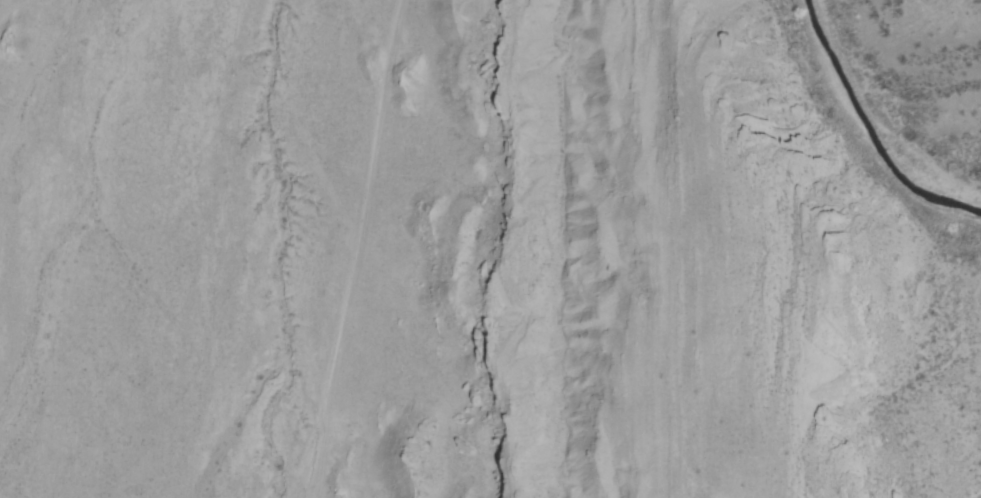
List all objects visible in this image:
river: (874, 128)

